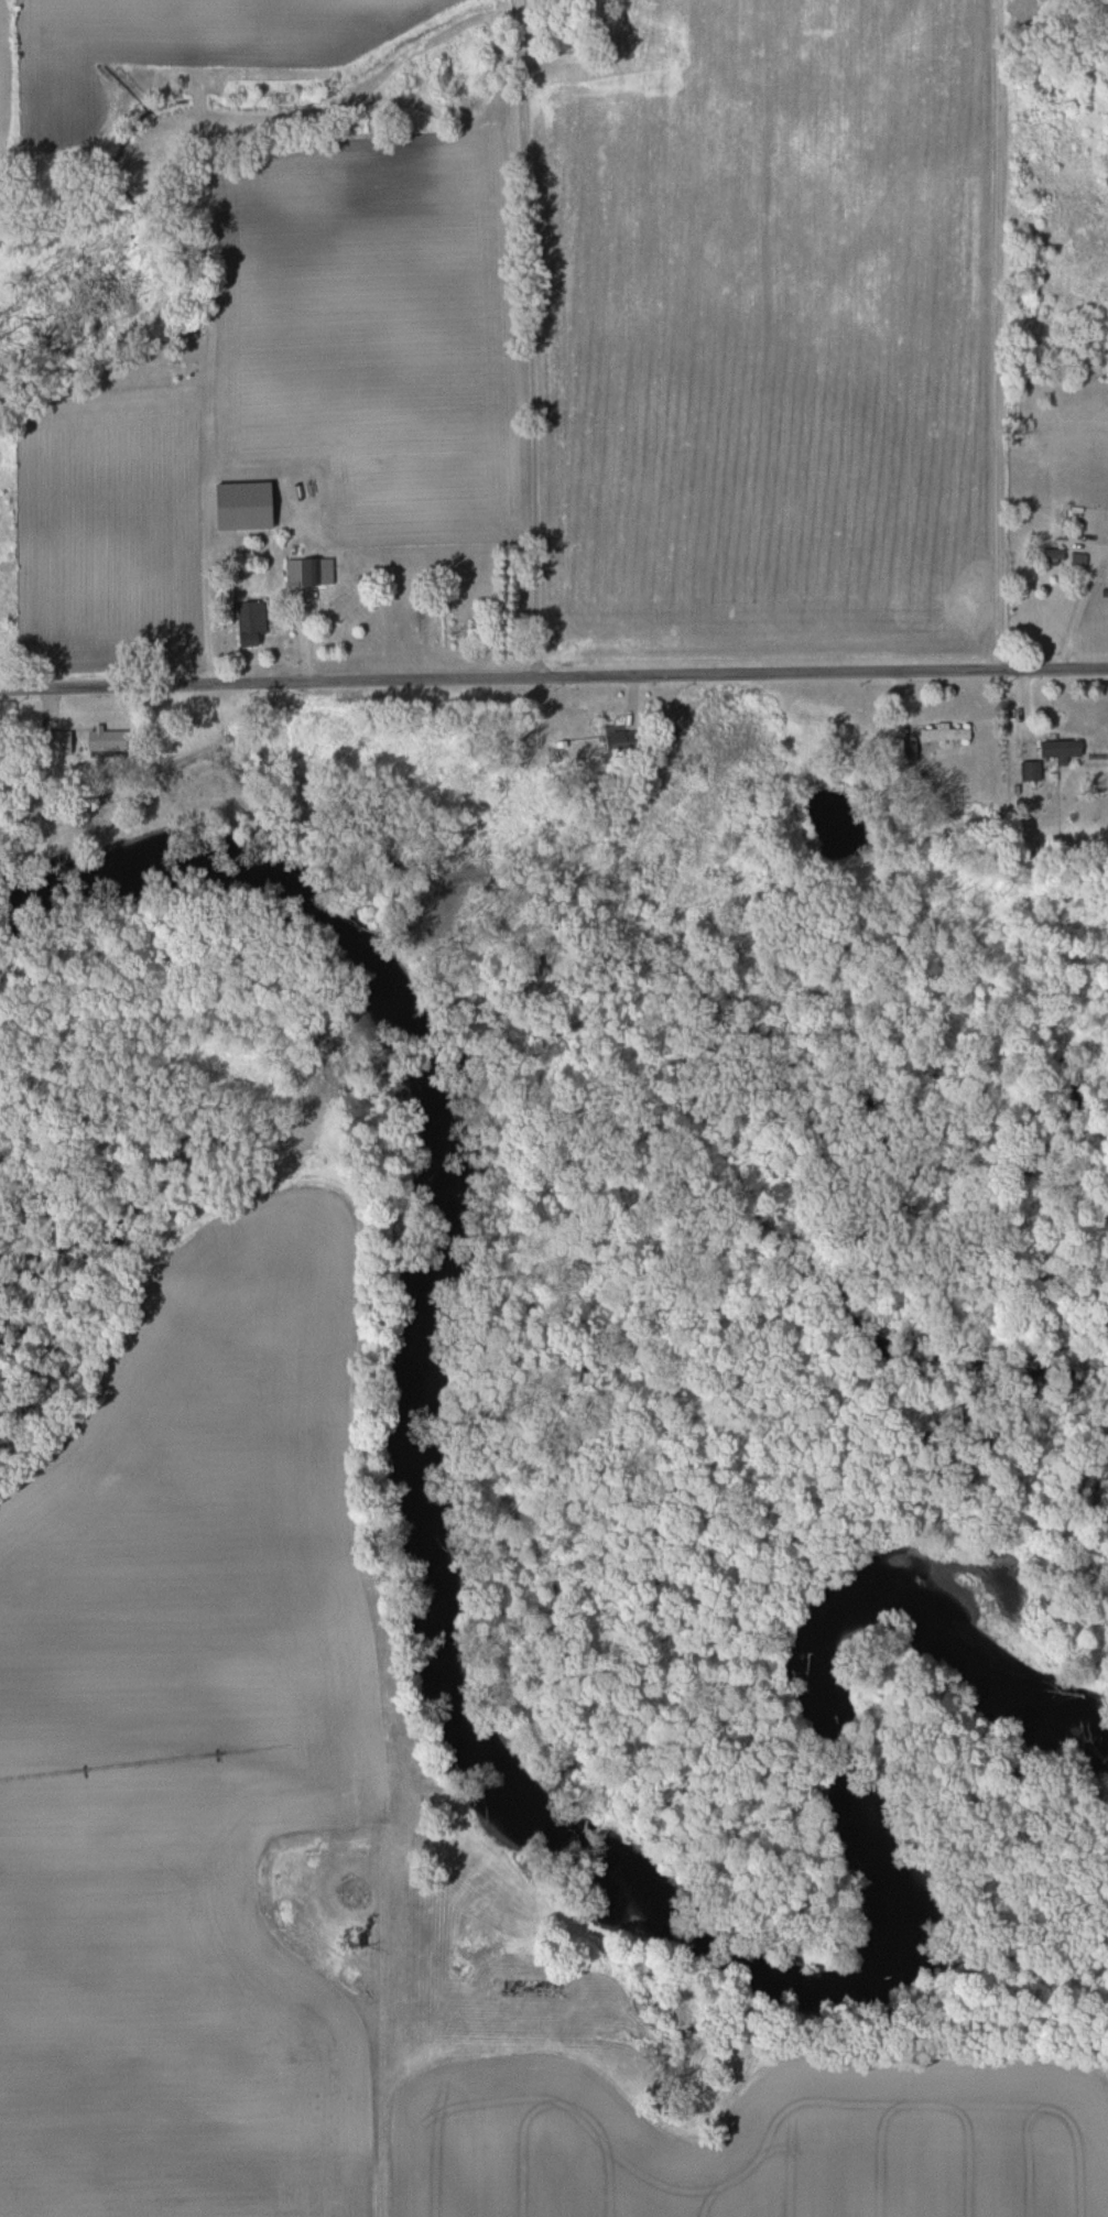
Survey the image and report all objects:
road: (529, 337)
building: (1047, 553)
building: (312, 570)
building: (254, 617)
road: (553, 675)
building: (944, 733)
building: (62, 739)
building: (622, 740)
building: (1053, 757)
river: (472, 1756)

